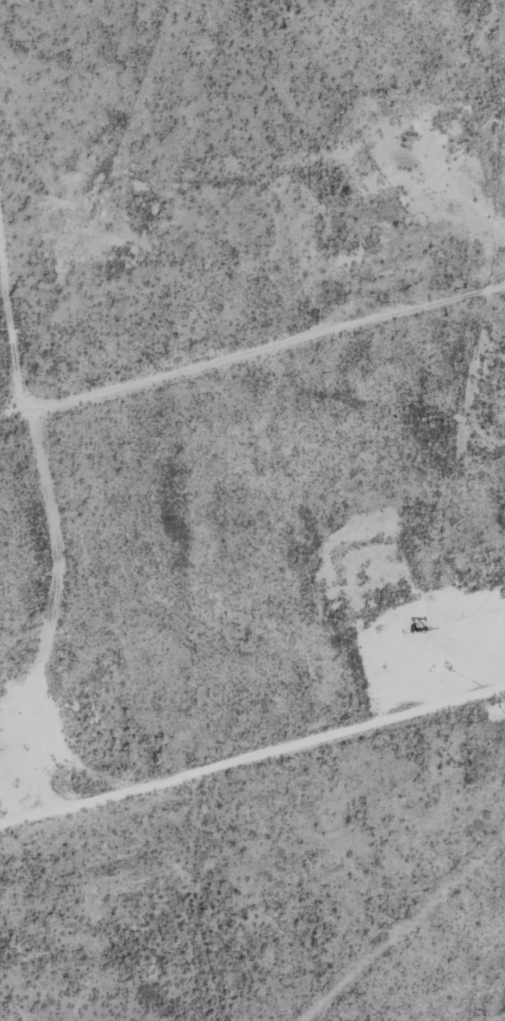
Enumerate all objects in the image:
road: (252, 783)

